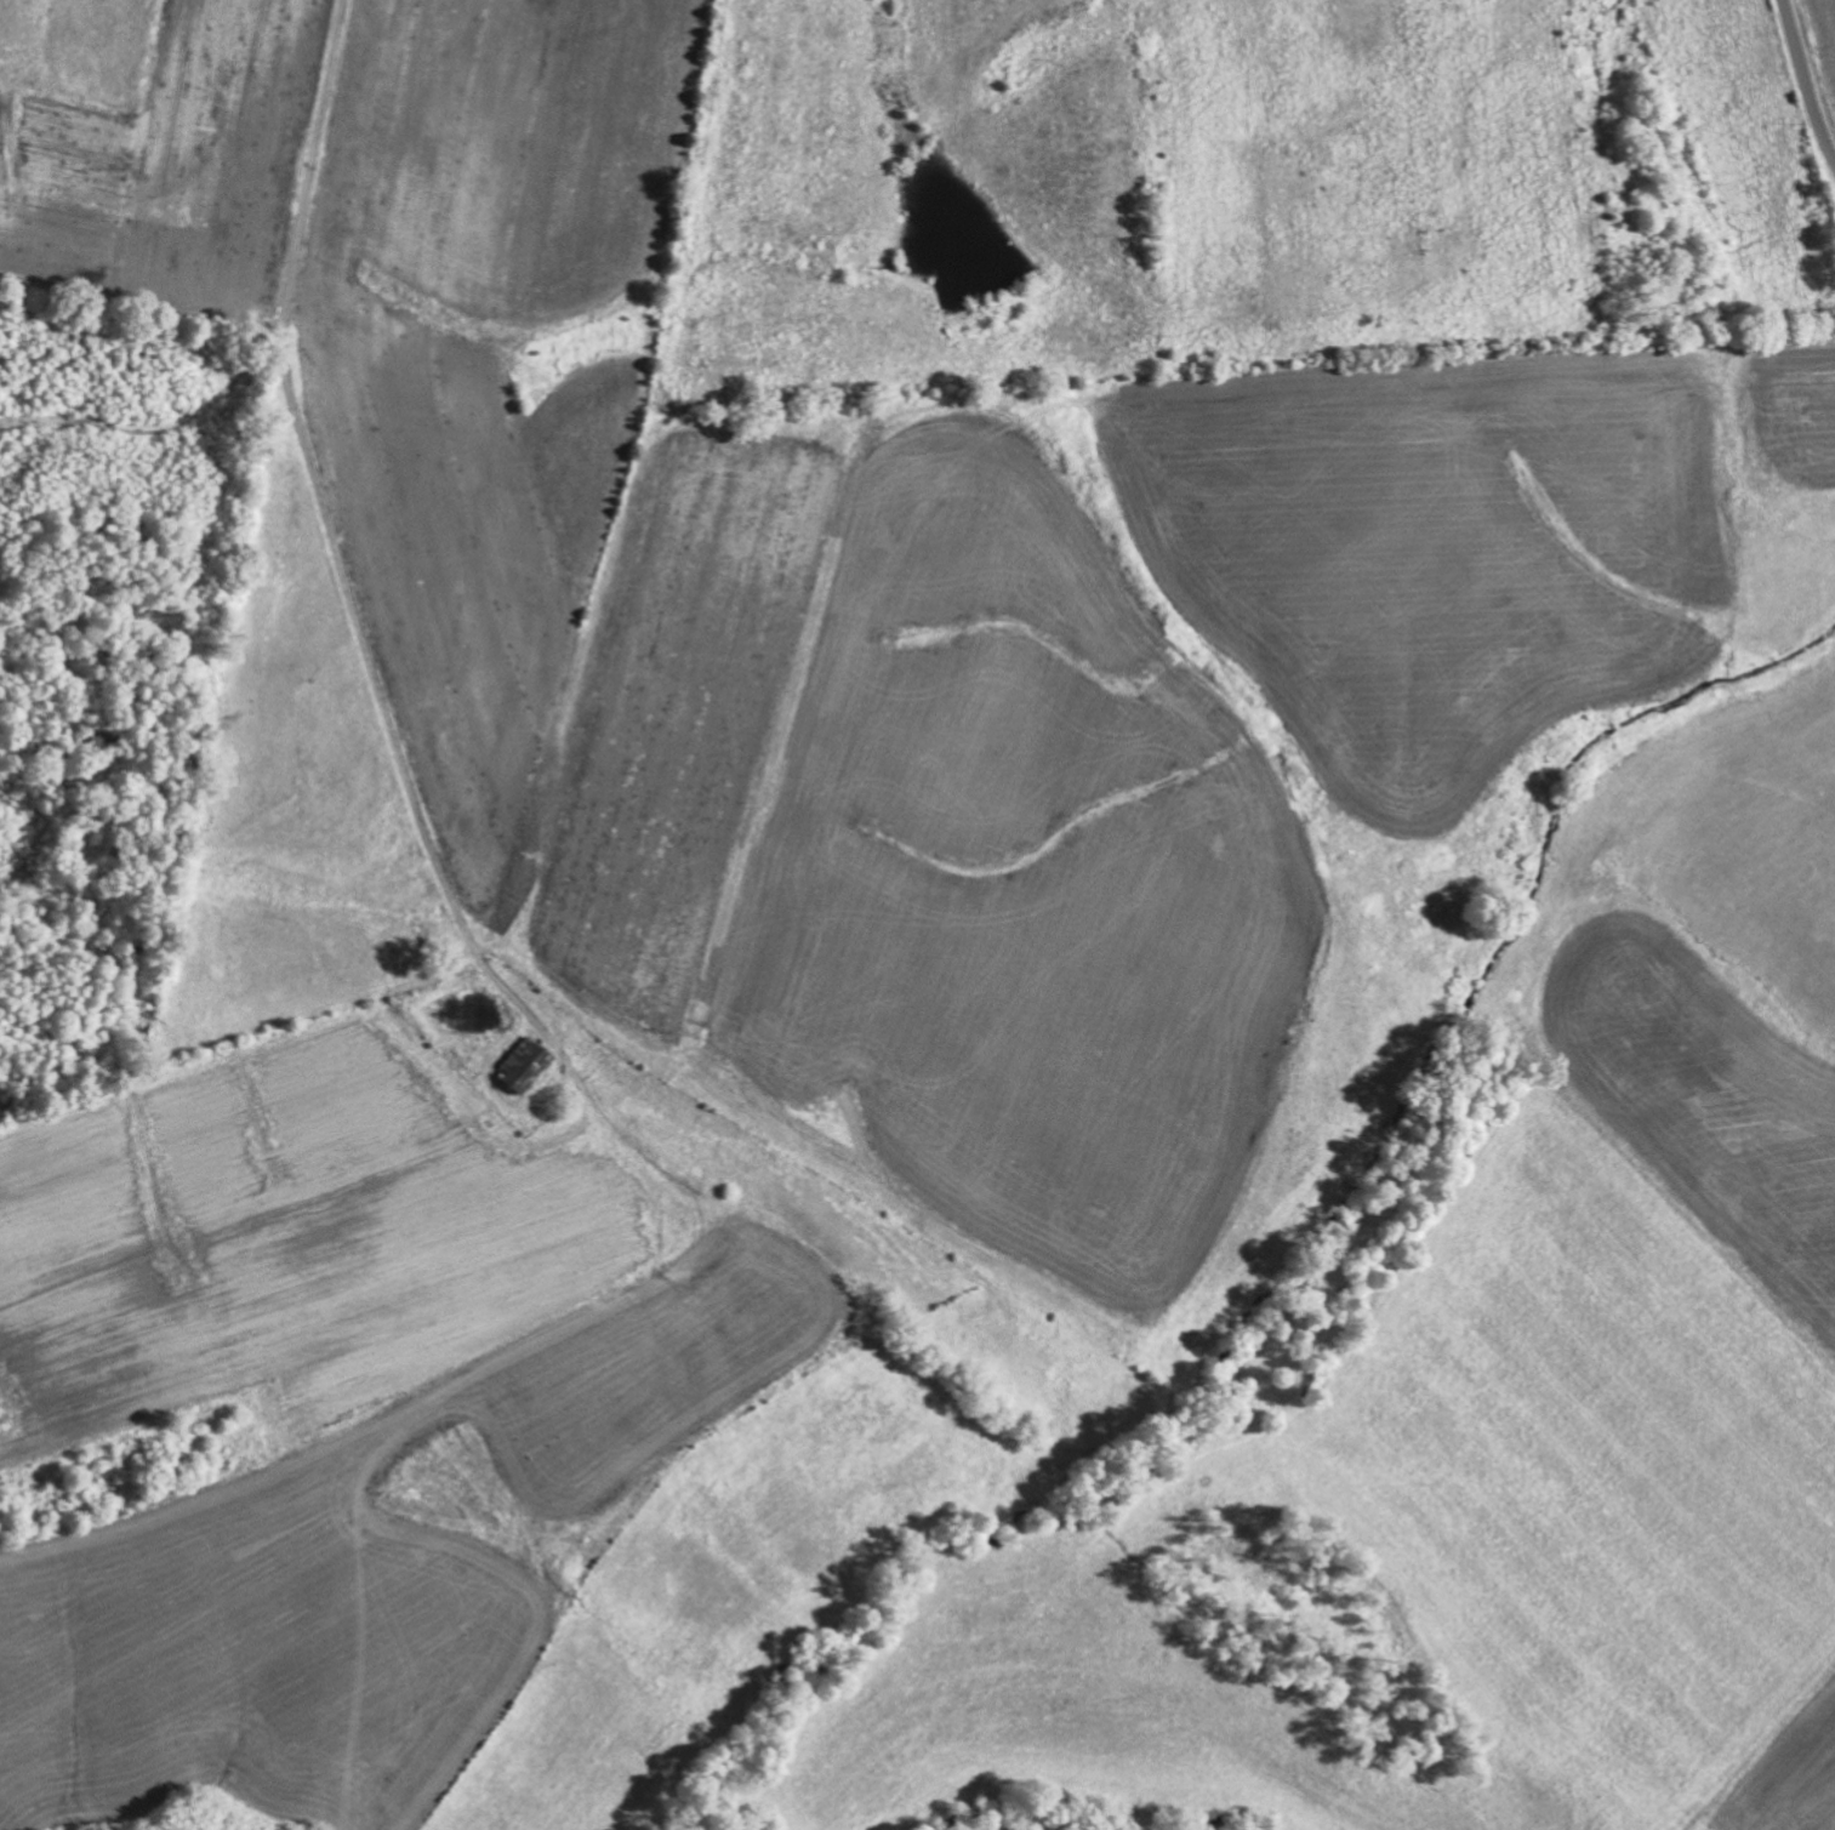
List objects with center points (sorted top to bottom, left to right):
road: (1803, 81)
building: (528, 1062)

